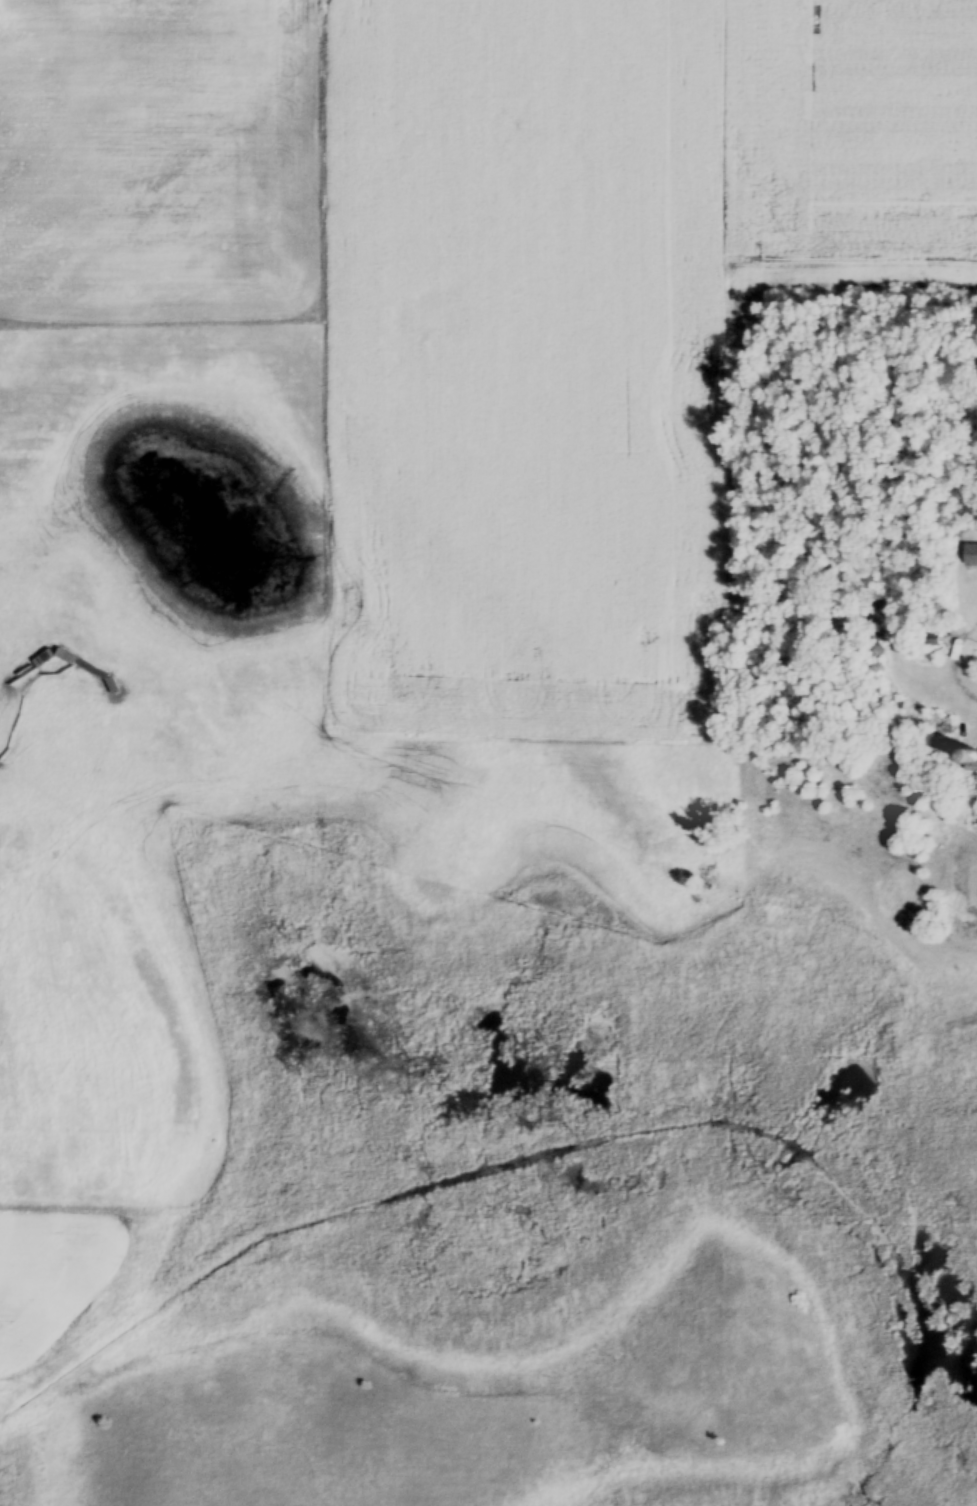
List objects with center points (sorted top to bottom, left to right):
building: (971, 556)
road: (952, 656)
building: (971, 767)

